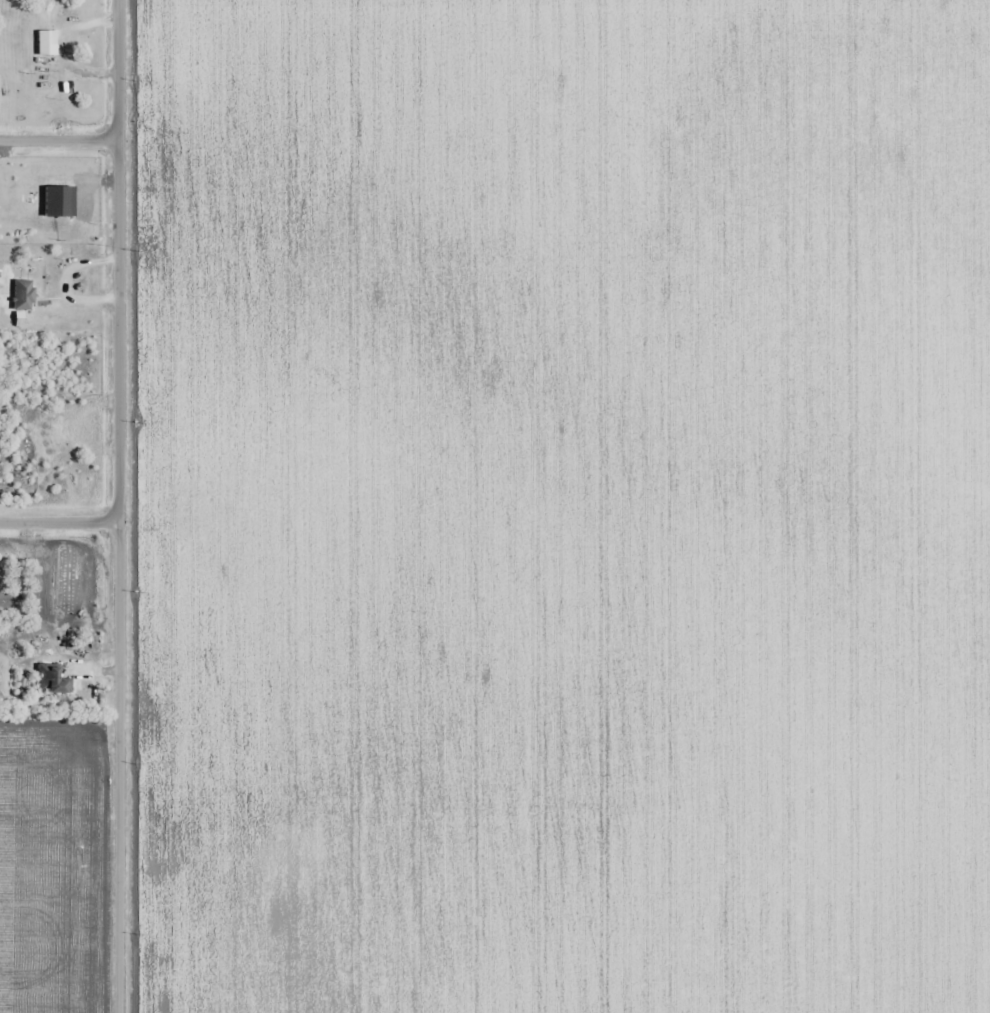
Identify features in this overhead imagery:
building: (47, 43)
road: (62, 141)
building: (23, 295)
road: (126, 506)
road: (63, 525)
building: (53, 680)

